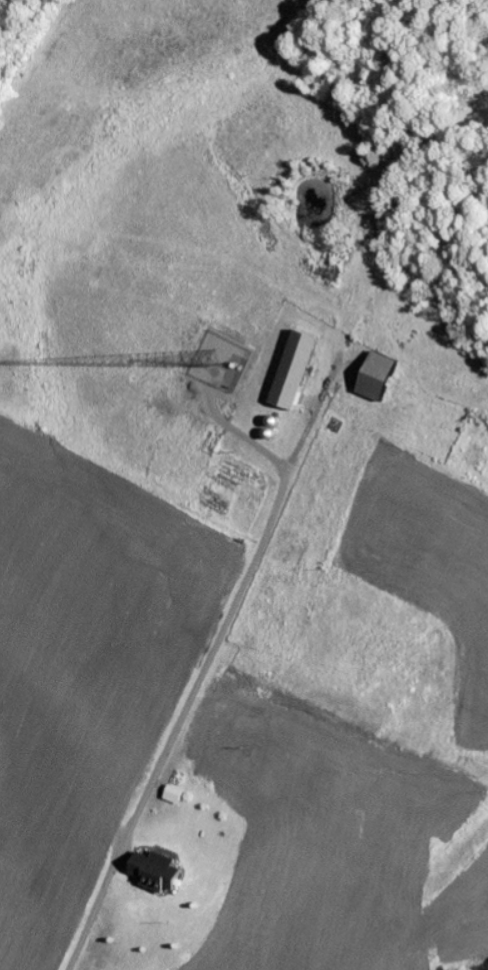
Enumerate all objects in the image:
building: (291, 370)
building: (374, 376)
building: (172, 795)
building: (152, 871)

